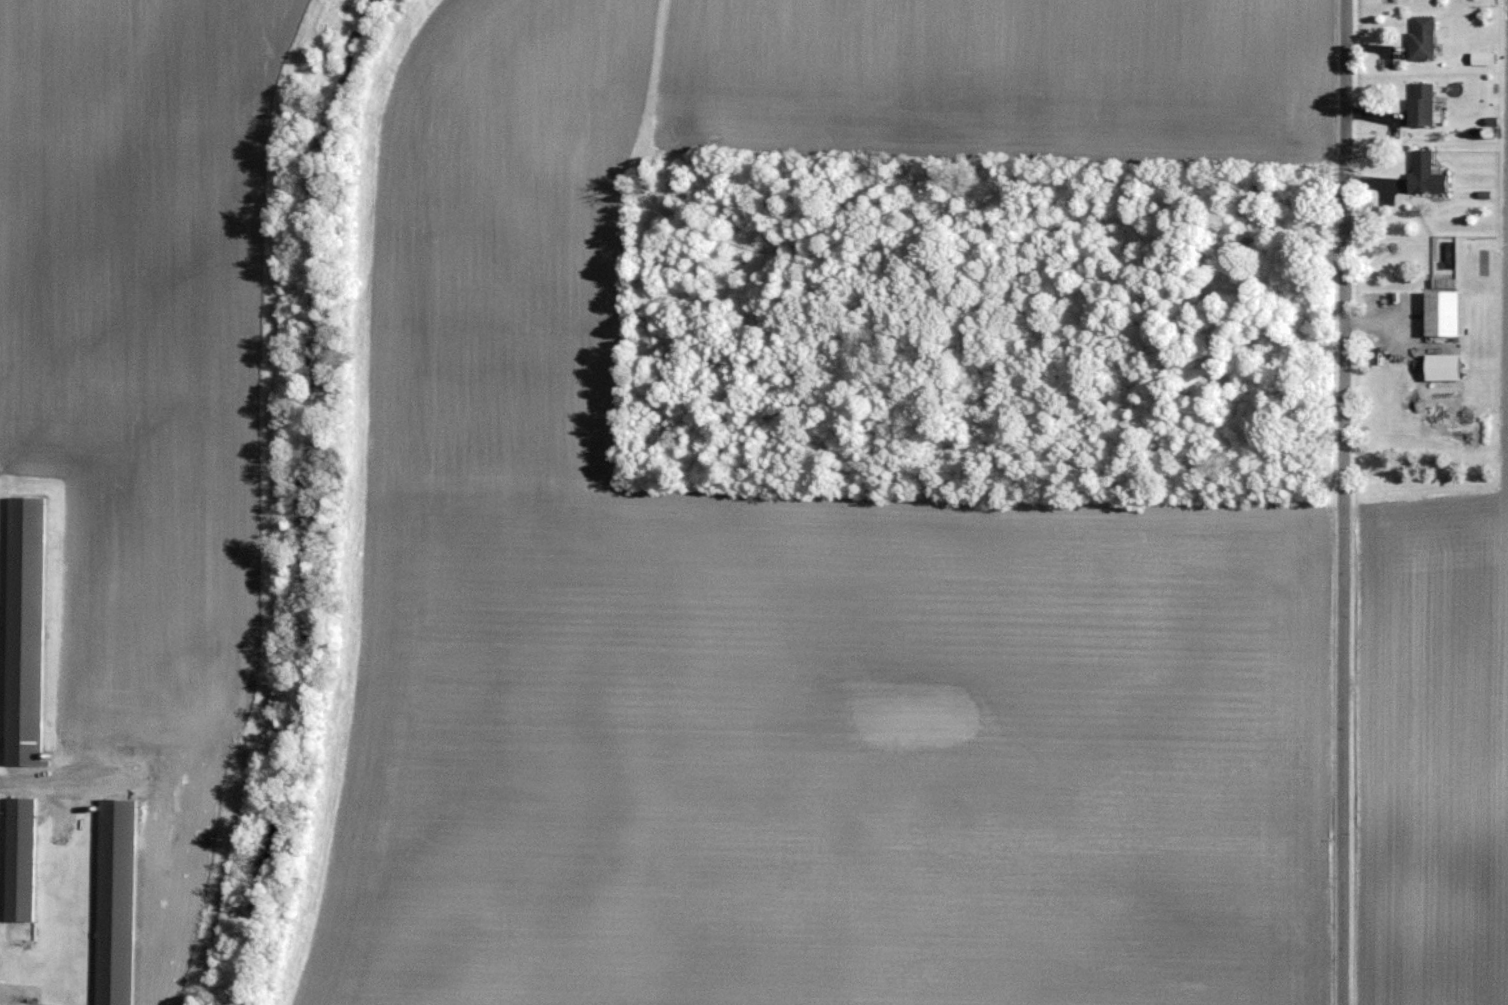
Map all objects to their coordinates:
road: (1341, 502)
building: (24, 627)
crop: (1433, 737)
building: (43, 817)
building: (20, 857)
building: (116, 900)

